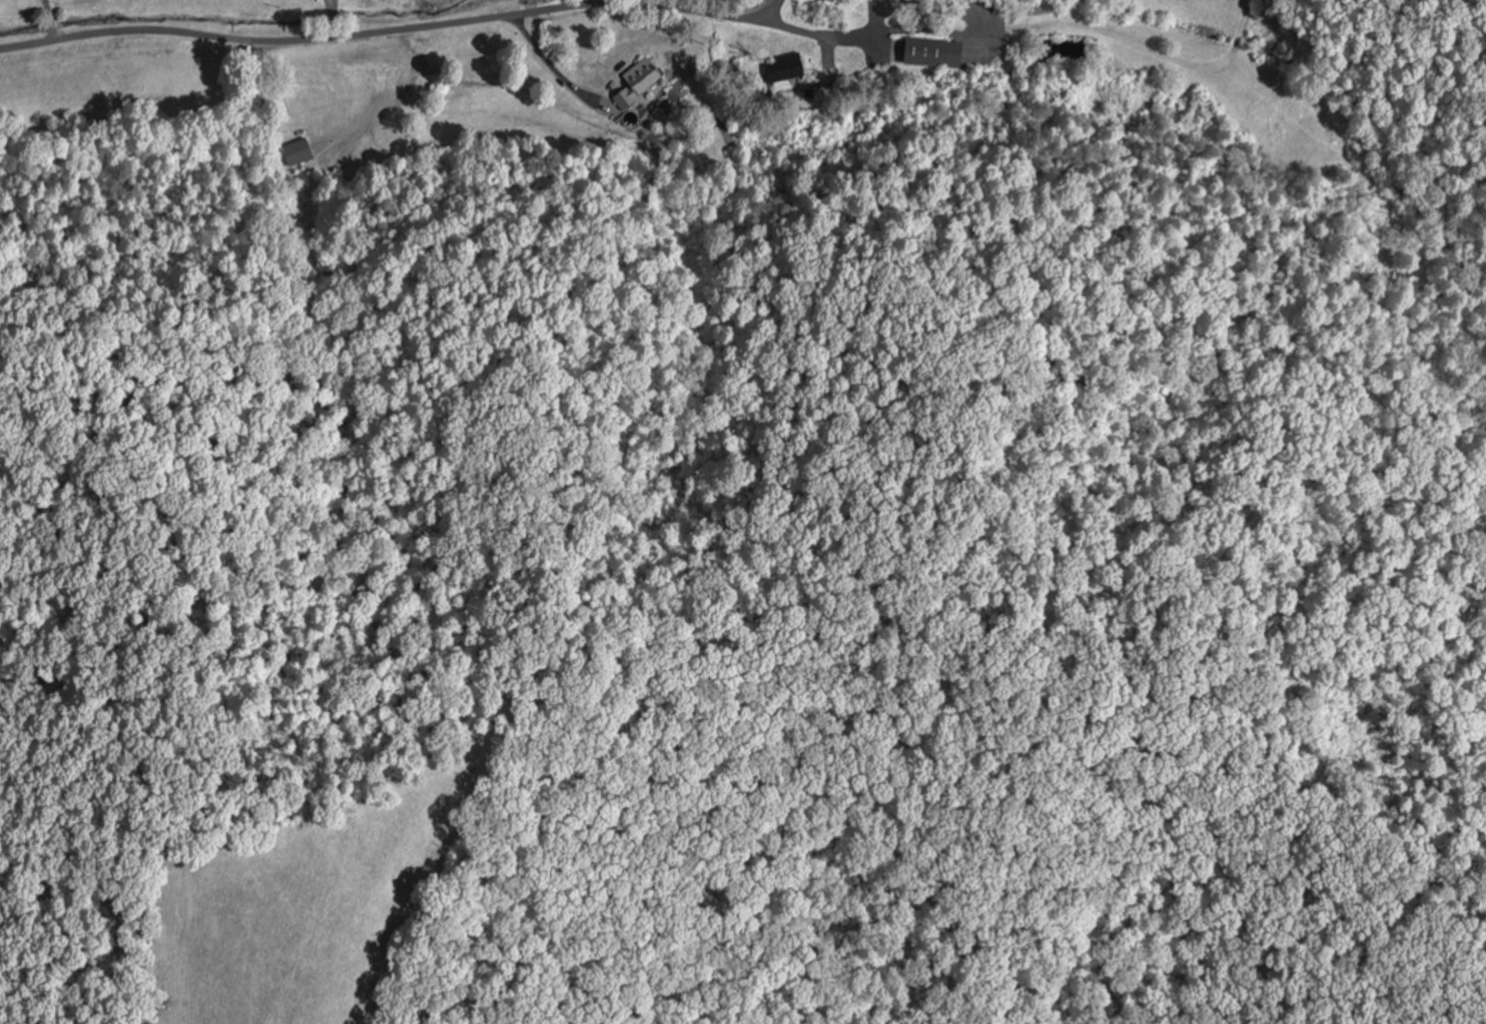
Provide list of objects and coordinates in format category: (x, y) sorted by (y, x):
road: (415, 28)
building: (932, 52)
building: (638, 79)
building: (295, 152)

